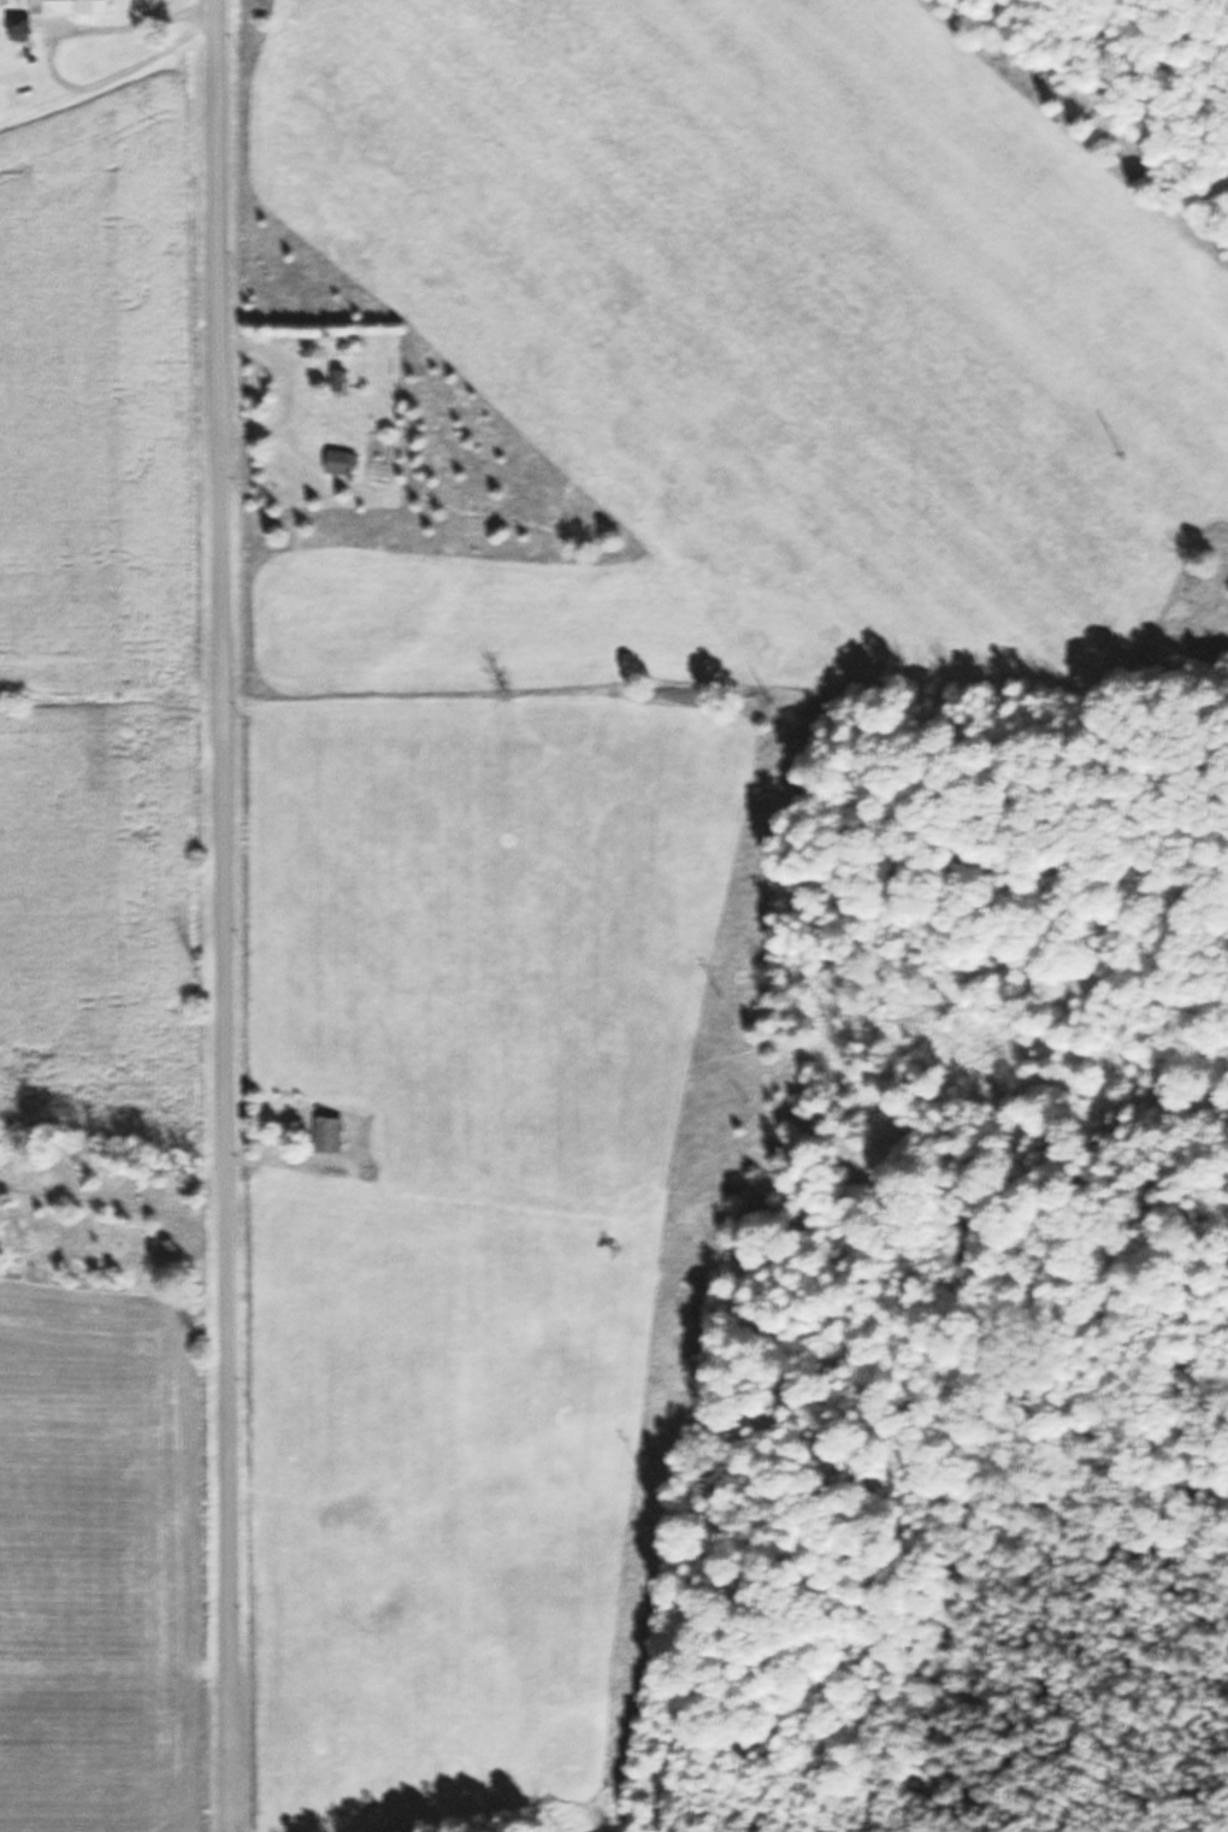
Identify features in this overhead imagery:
building: (87, 5)
building: (341, 381)
building: (342, 461)
road: (223, 915)
building: (331, 1132)

